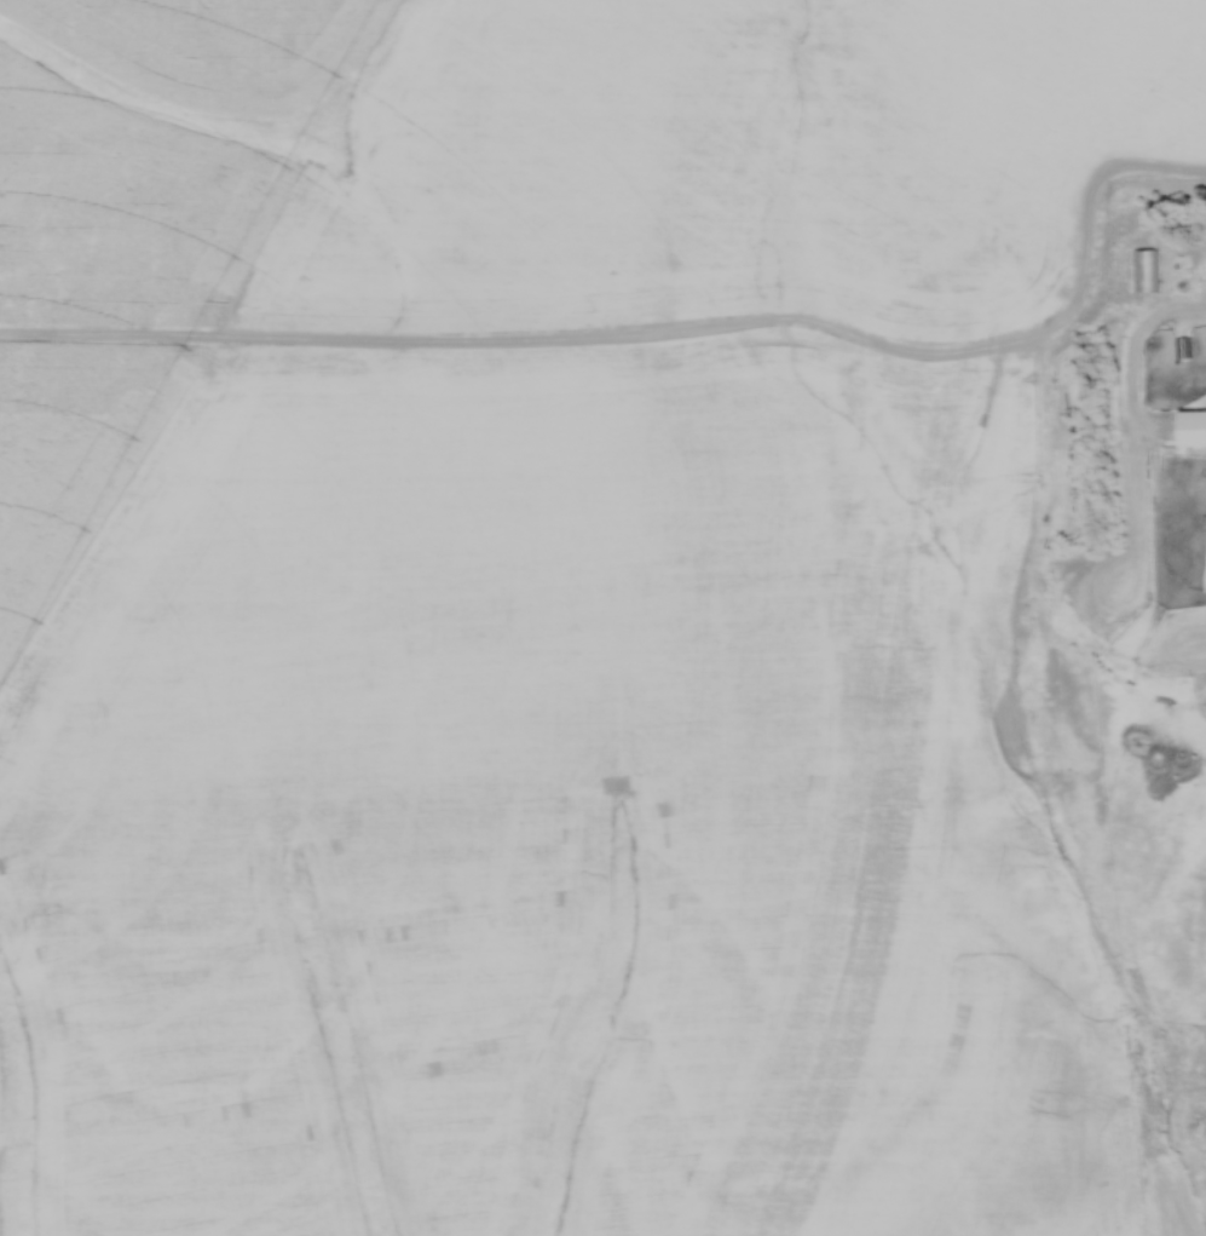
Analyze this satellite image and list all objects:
building: (1181, 264)
building: (1146, 270)

